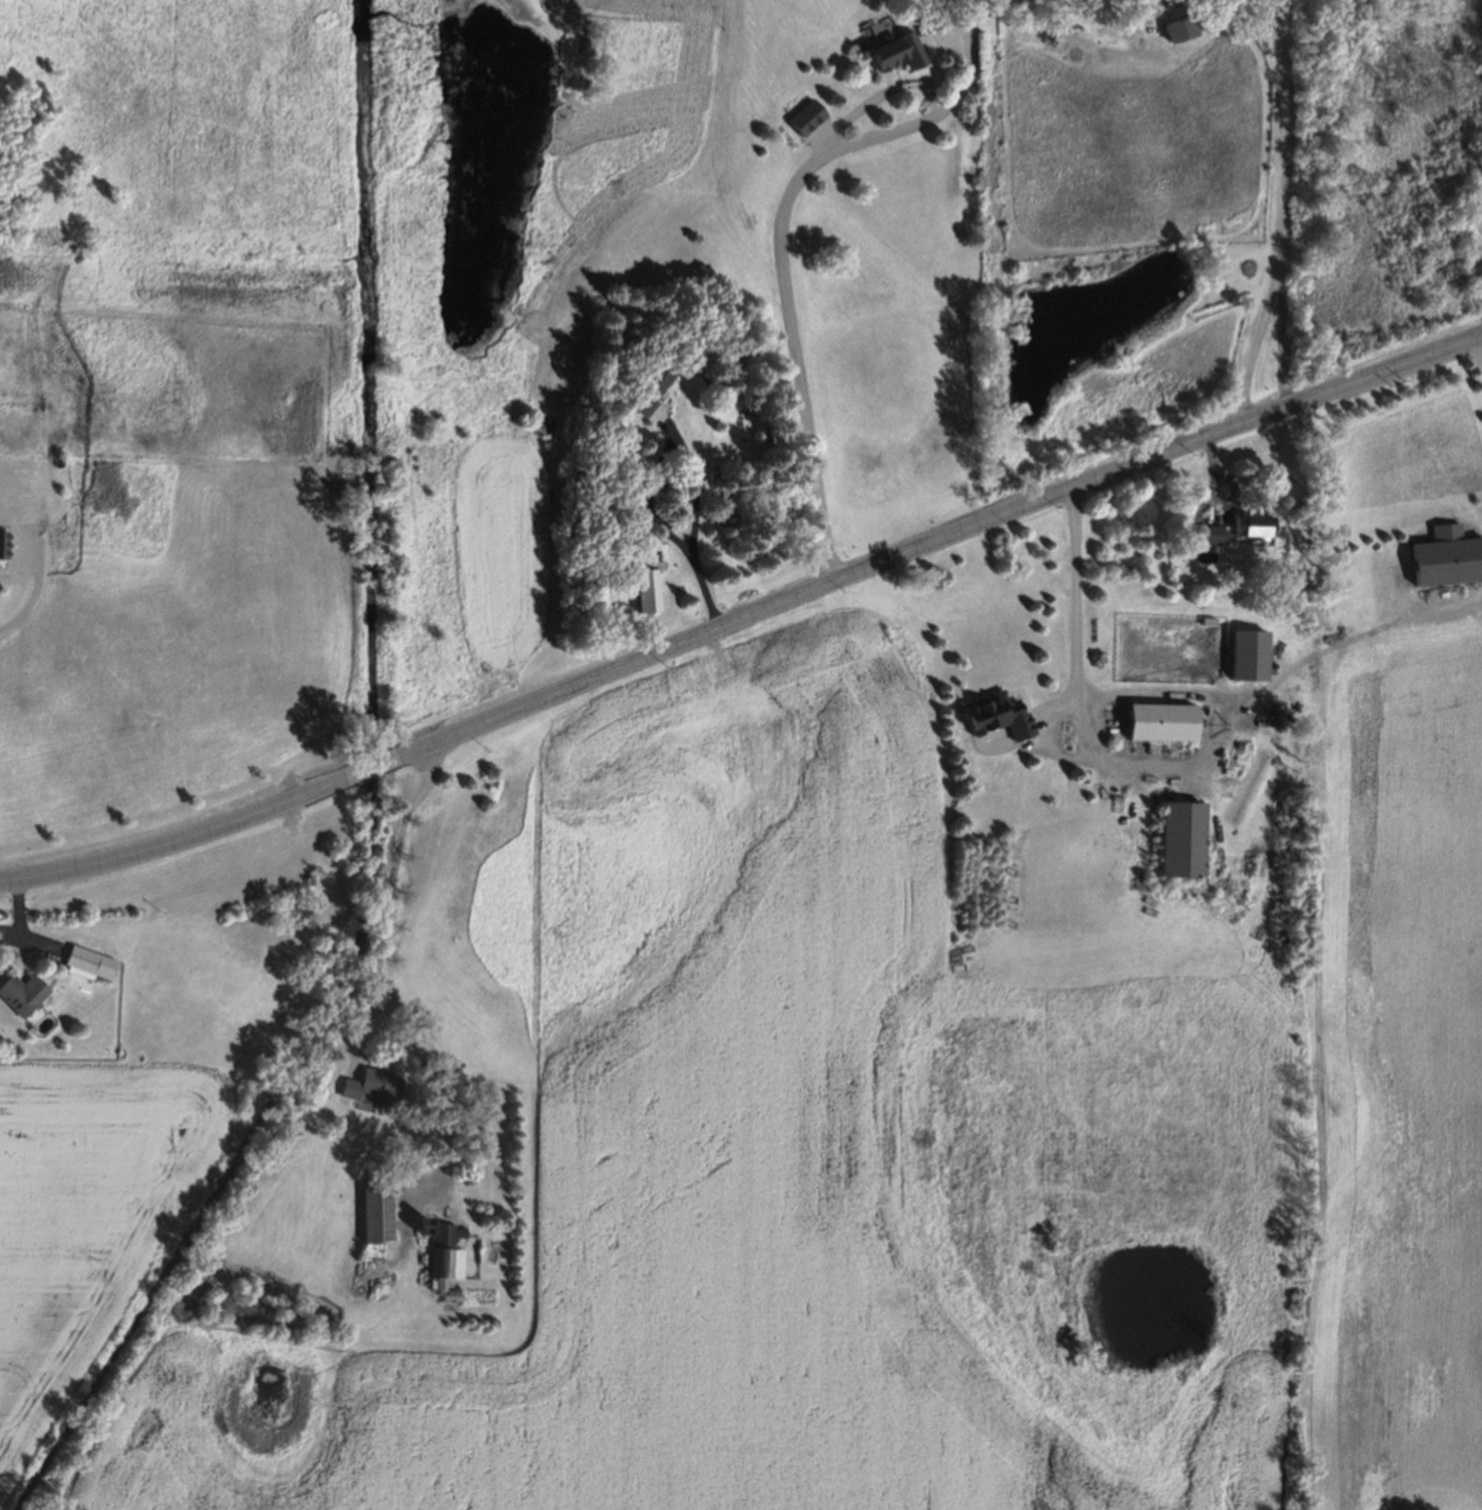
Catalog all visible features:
road: (1274, 5)
road: (1260, 15)
building: (1182, 28)
building: (887, 46)
building: (801, 117)
road: (1282, 203)
road: (779, 260)
road: (1258, 339)
road: (1478, 355)
building: (649, 381)
road: (642, 497)
road: (690, 518)
building: (1250, 522)
building: (1209, 530)
building: (4, 546)
building: (1447, 558)
road: (38, 586)
building: (645, 587)
road: (1071, 595)
road: (742, 617)
building: (1206, 623)
building: (1251, 657)
road: (1251, 696)
road: (1094, 697)
building: (991, 711)
building: (1163, 723)
building: (1184, 840)
building: (84, 959)
road: (377, 974)
building: (17, 991)
building: (370, 1082)
building: (375, 1212)
building: (421, 1219)
building: (419, 1229)
building: (444, 1260)

